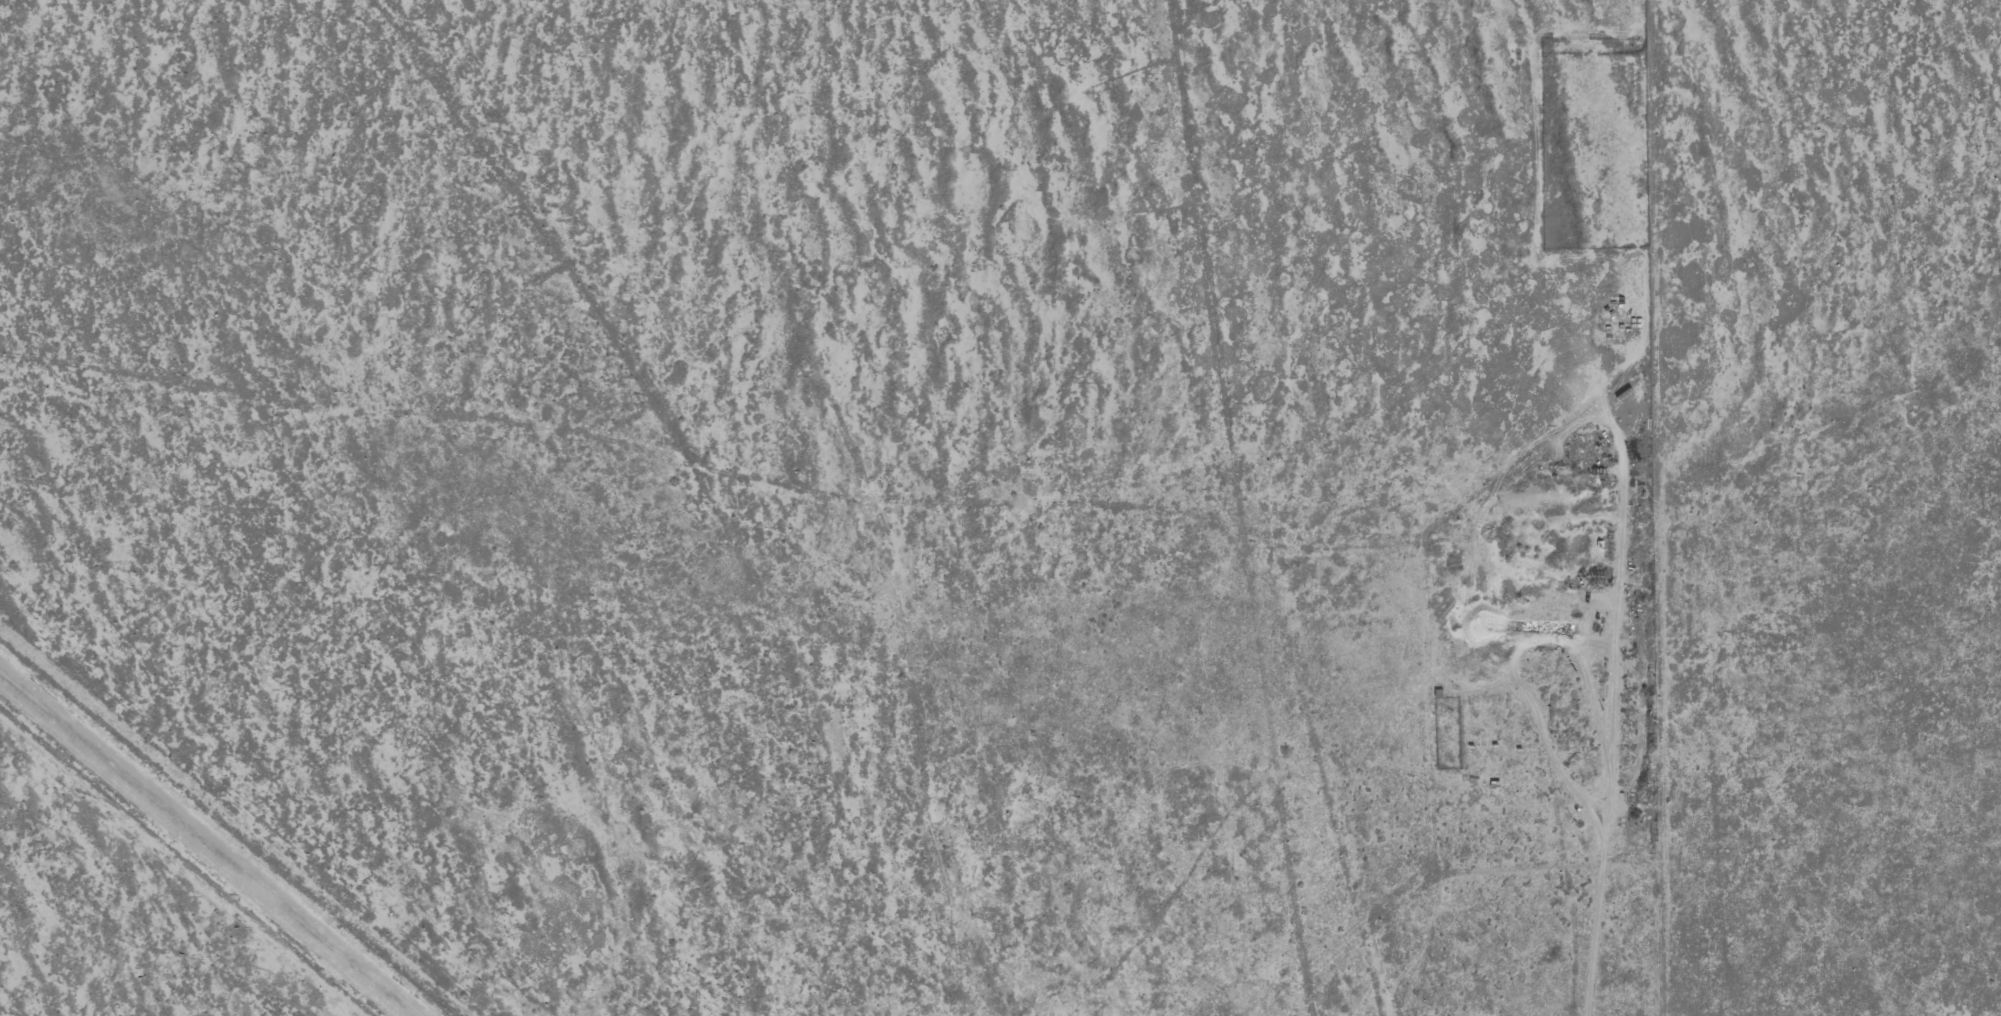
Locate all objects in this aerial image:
road: (605, 491)
road: (1620, 508)
road: (1214, 509)
airport runway: (209, 841)

